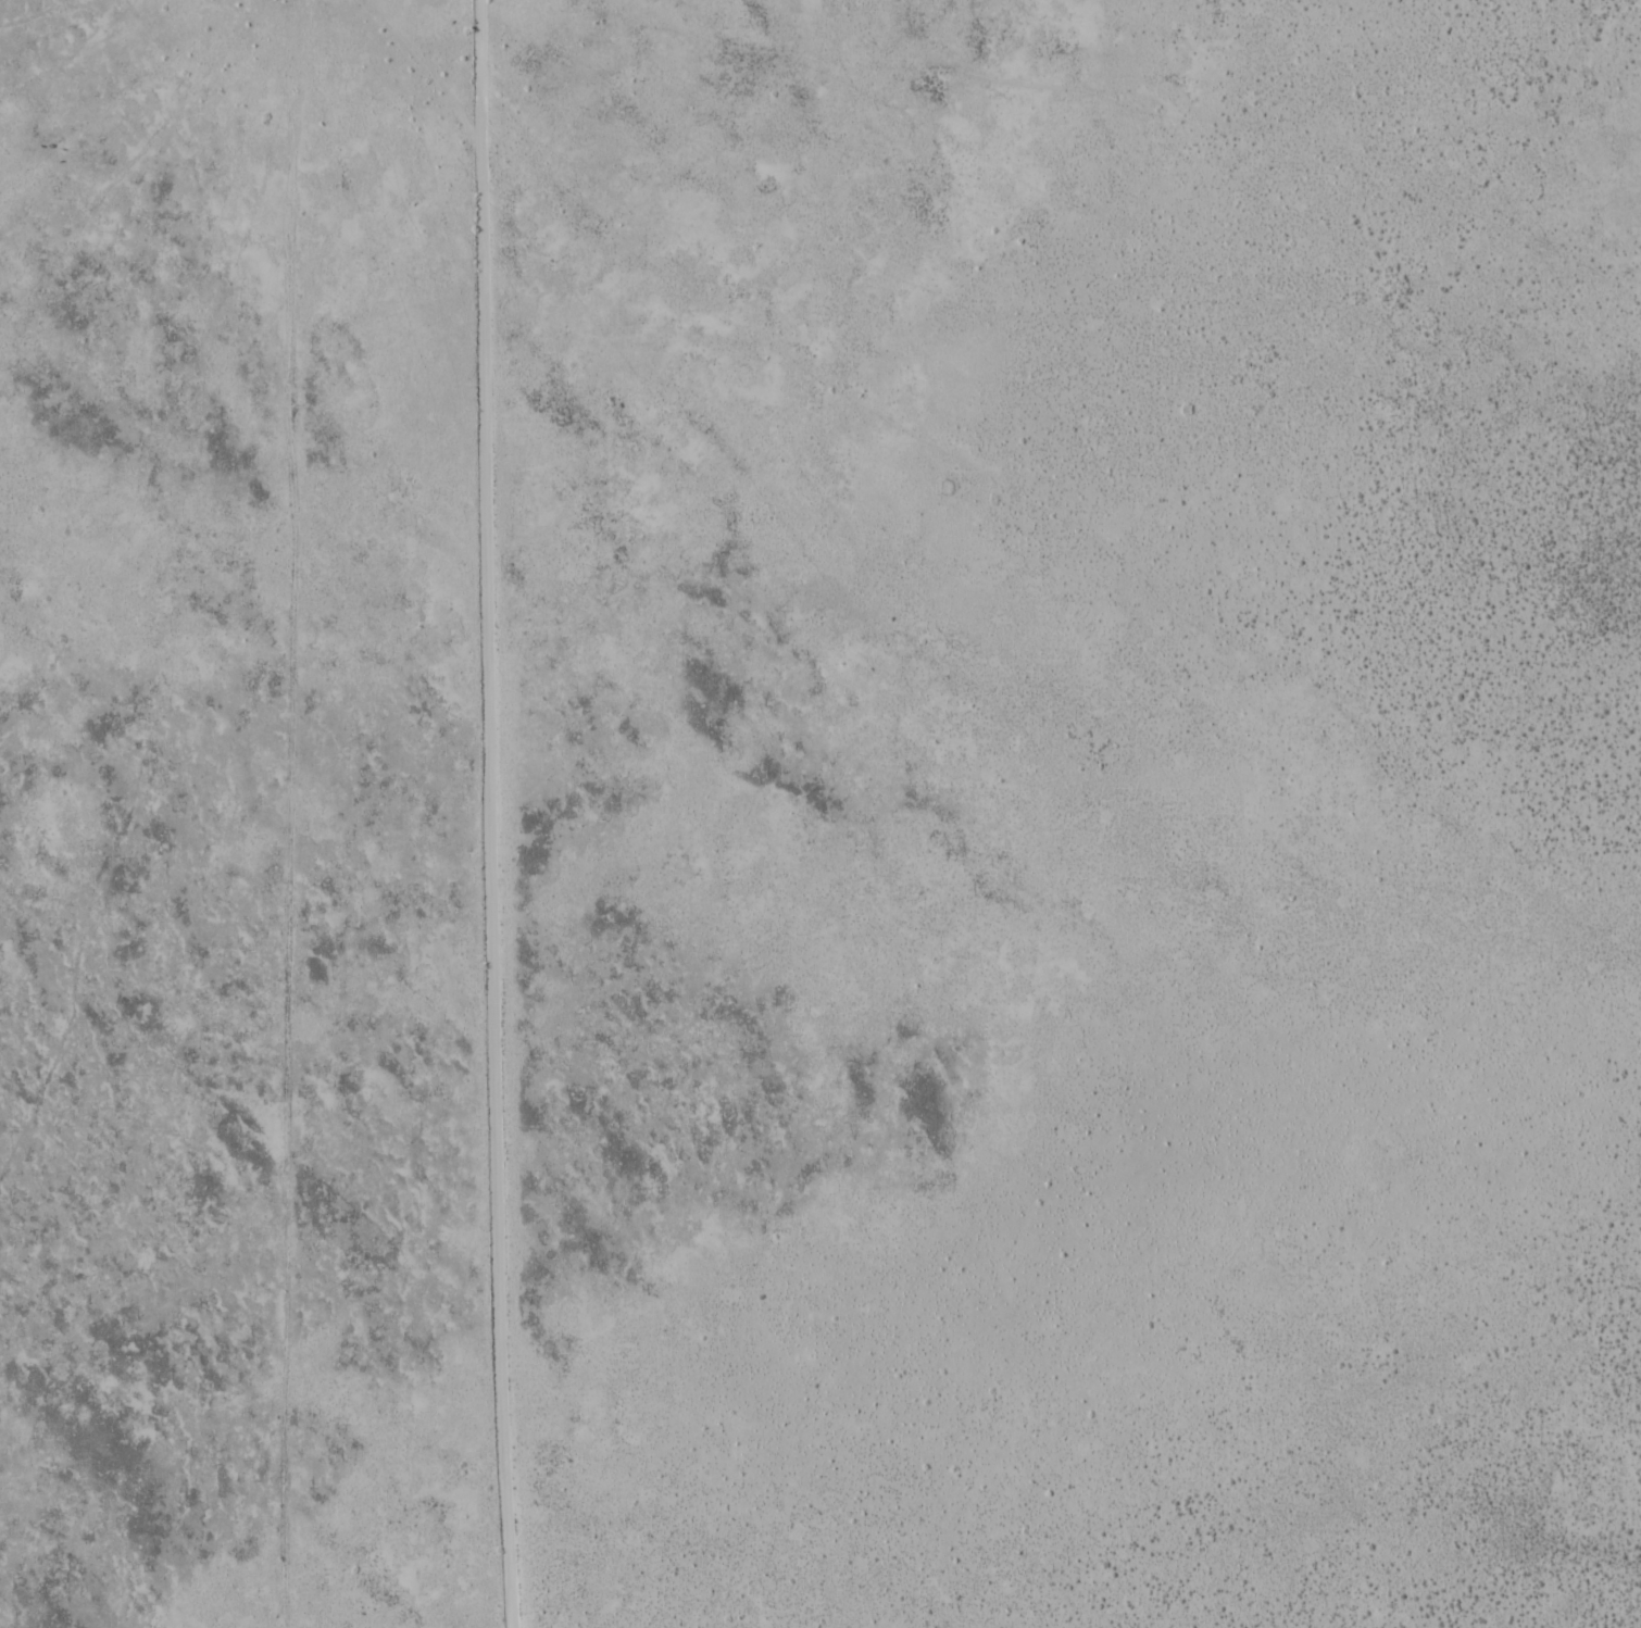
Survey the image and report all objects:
road: (477, 814)

